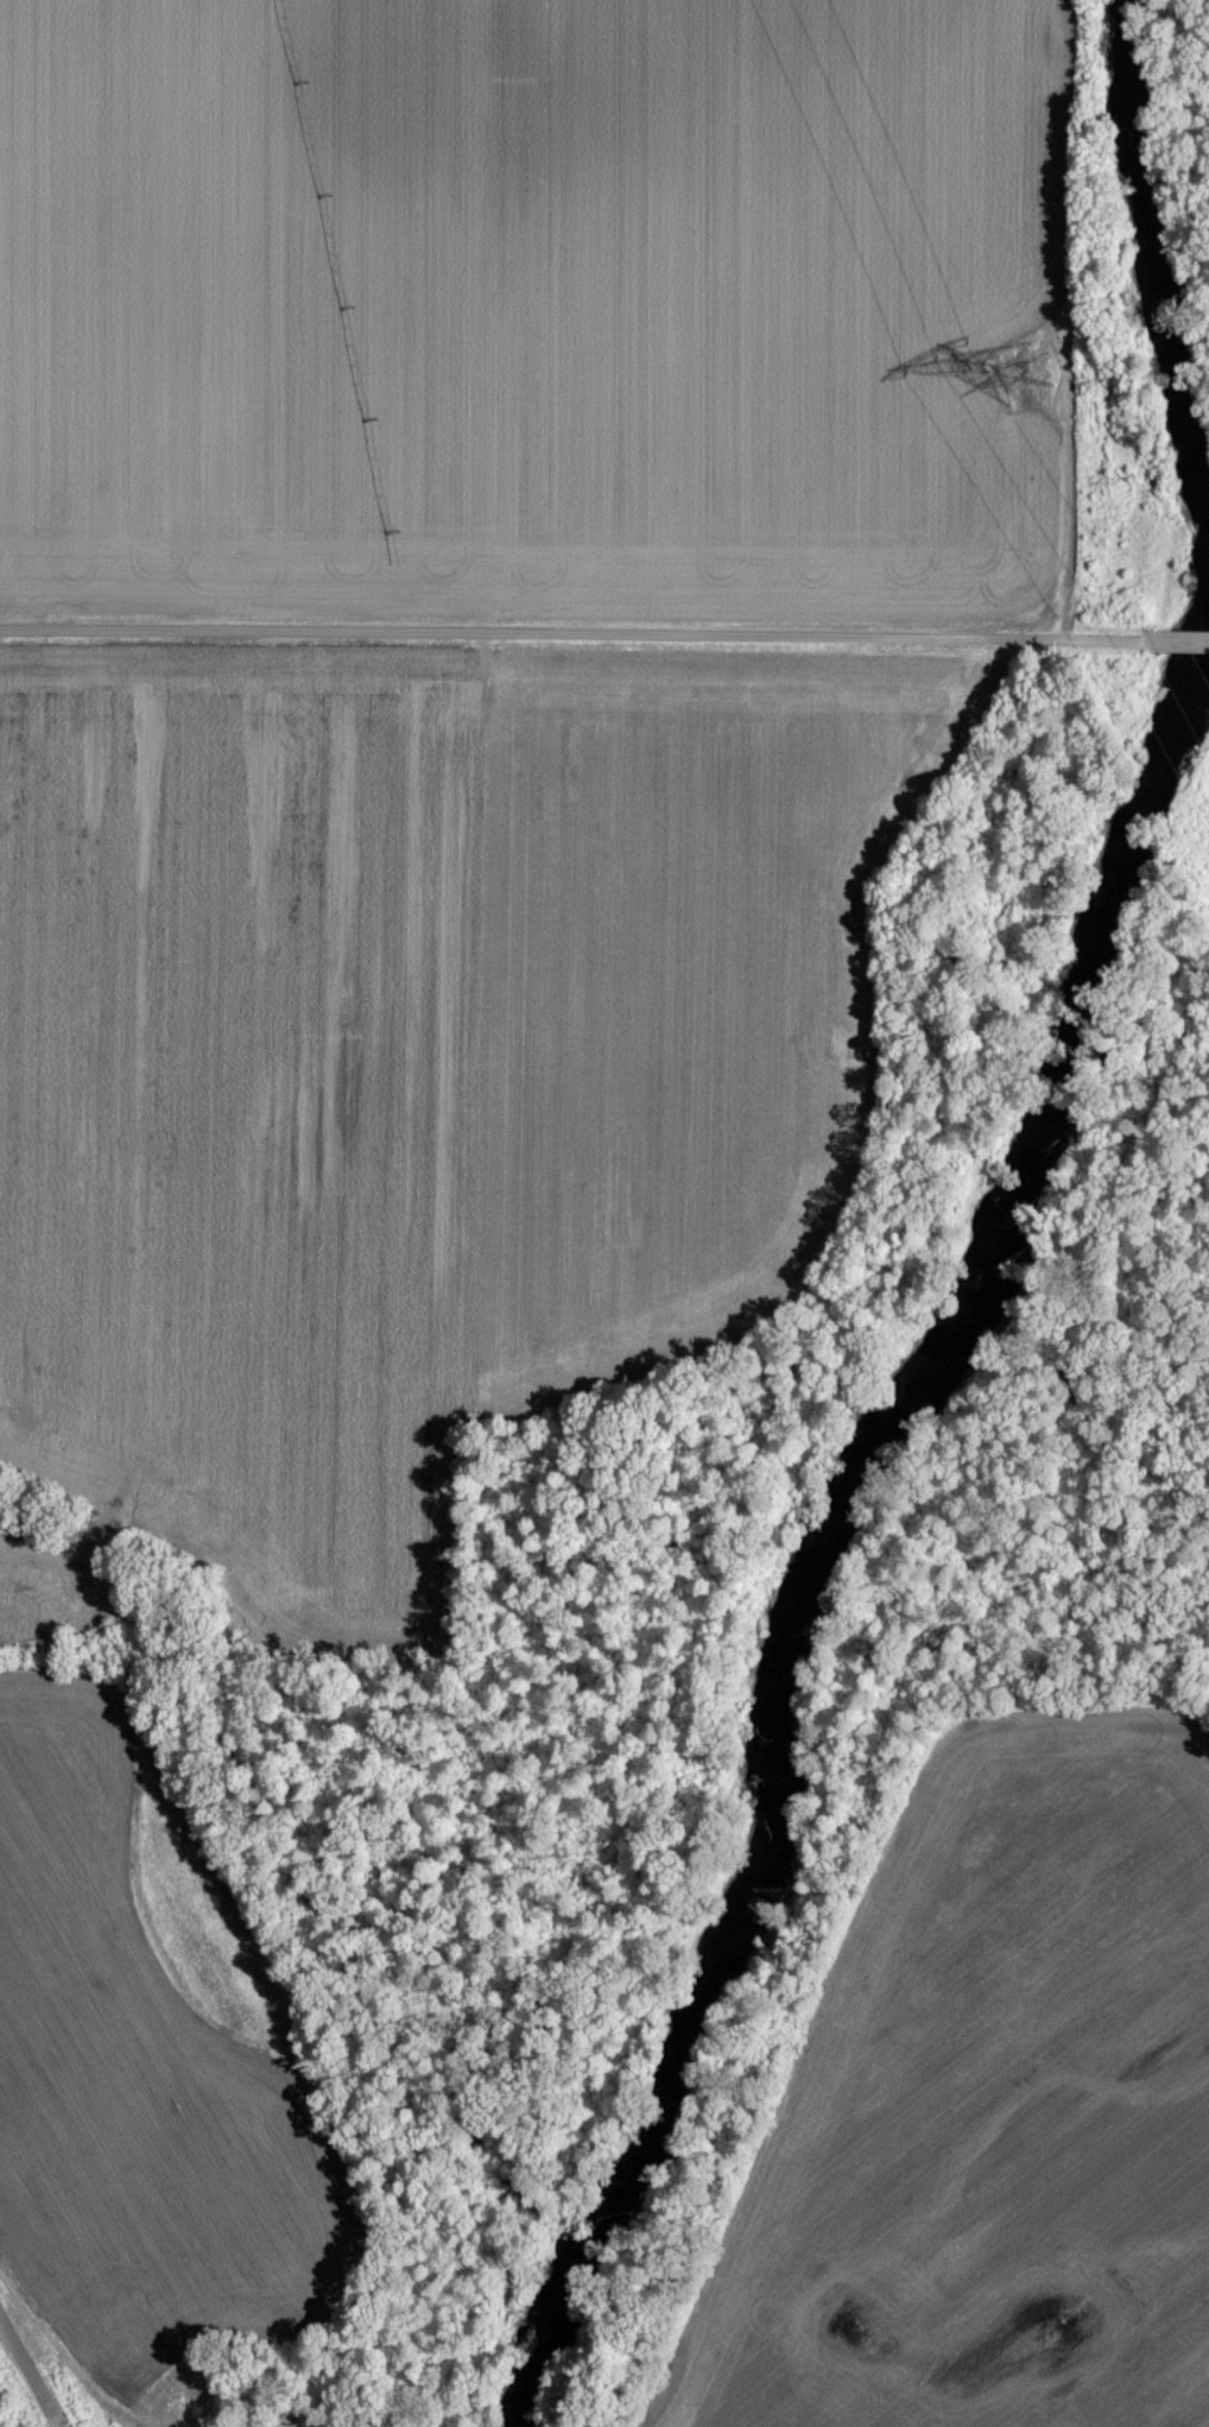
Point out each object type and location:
power tower: (1023, 384)
road: (604, 647)
road: (62, 2326)

